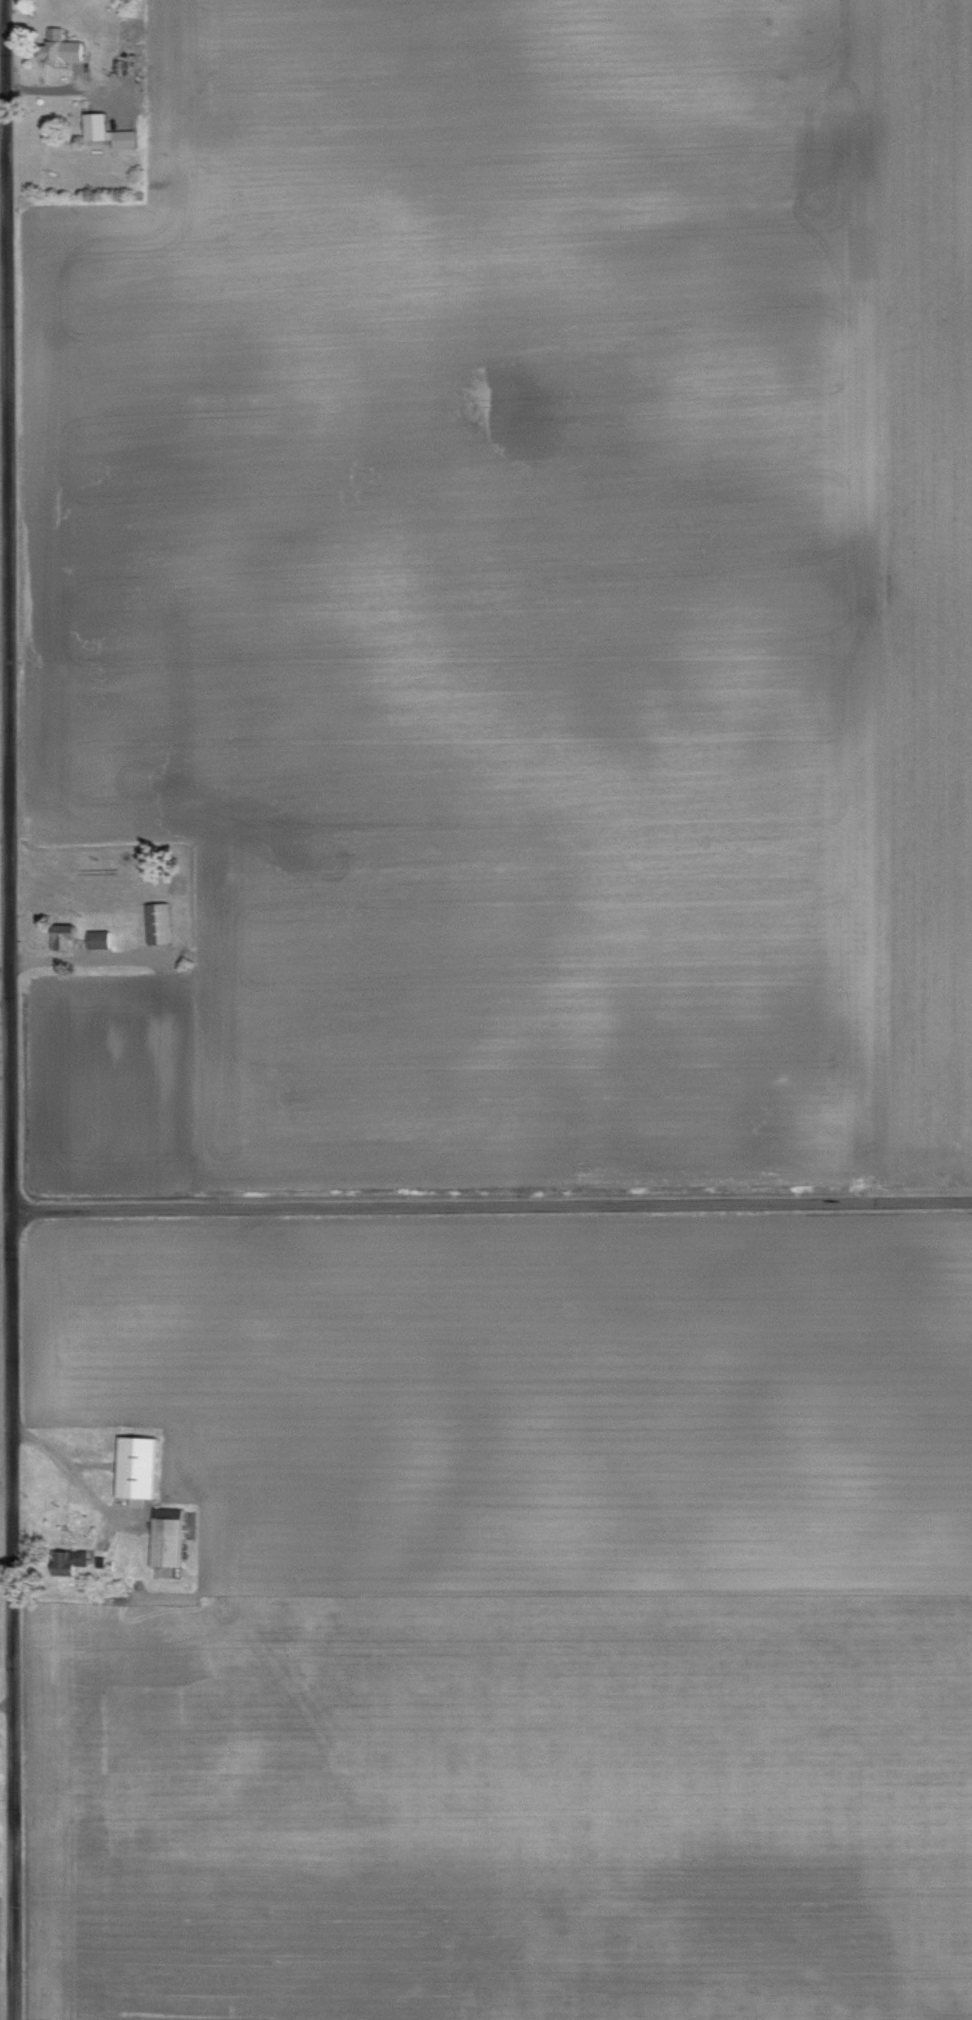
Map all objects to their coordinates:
building: (55, 45)
building: (102, 128)
building: (153, 921)
building: (95, 937)
road: (2, 1073)
road: (487, 1203)
road: (56, 1464)
building: (133, 1467)
building: (163, 1535)

